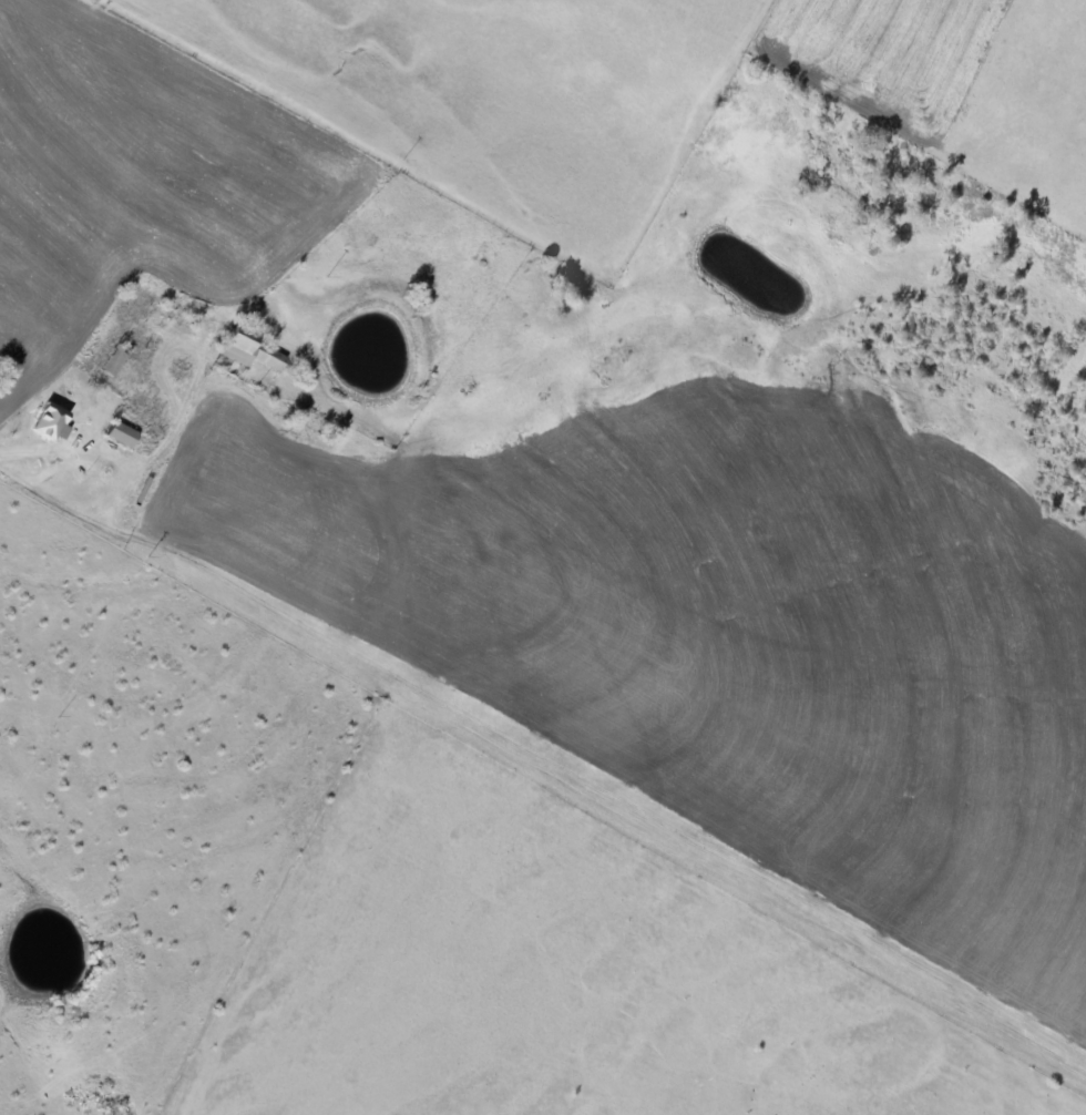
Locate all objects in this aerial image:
building: (249, 348)
building: (57, 421)
building: (126, 433)
crop: (568, 968)

